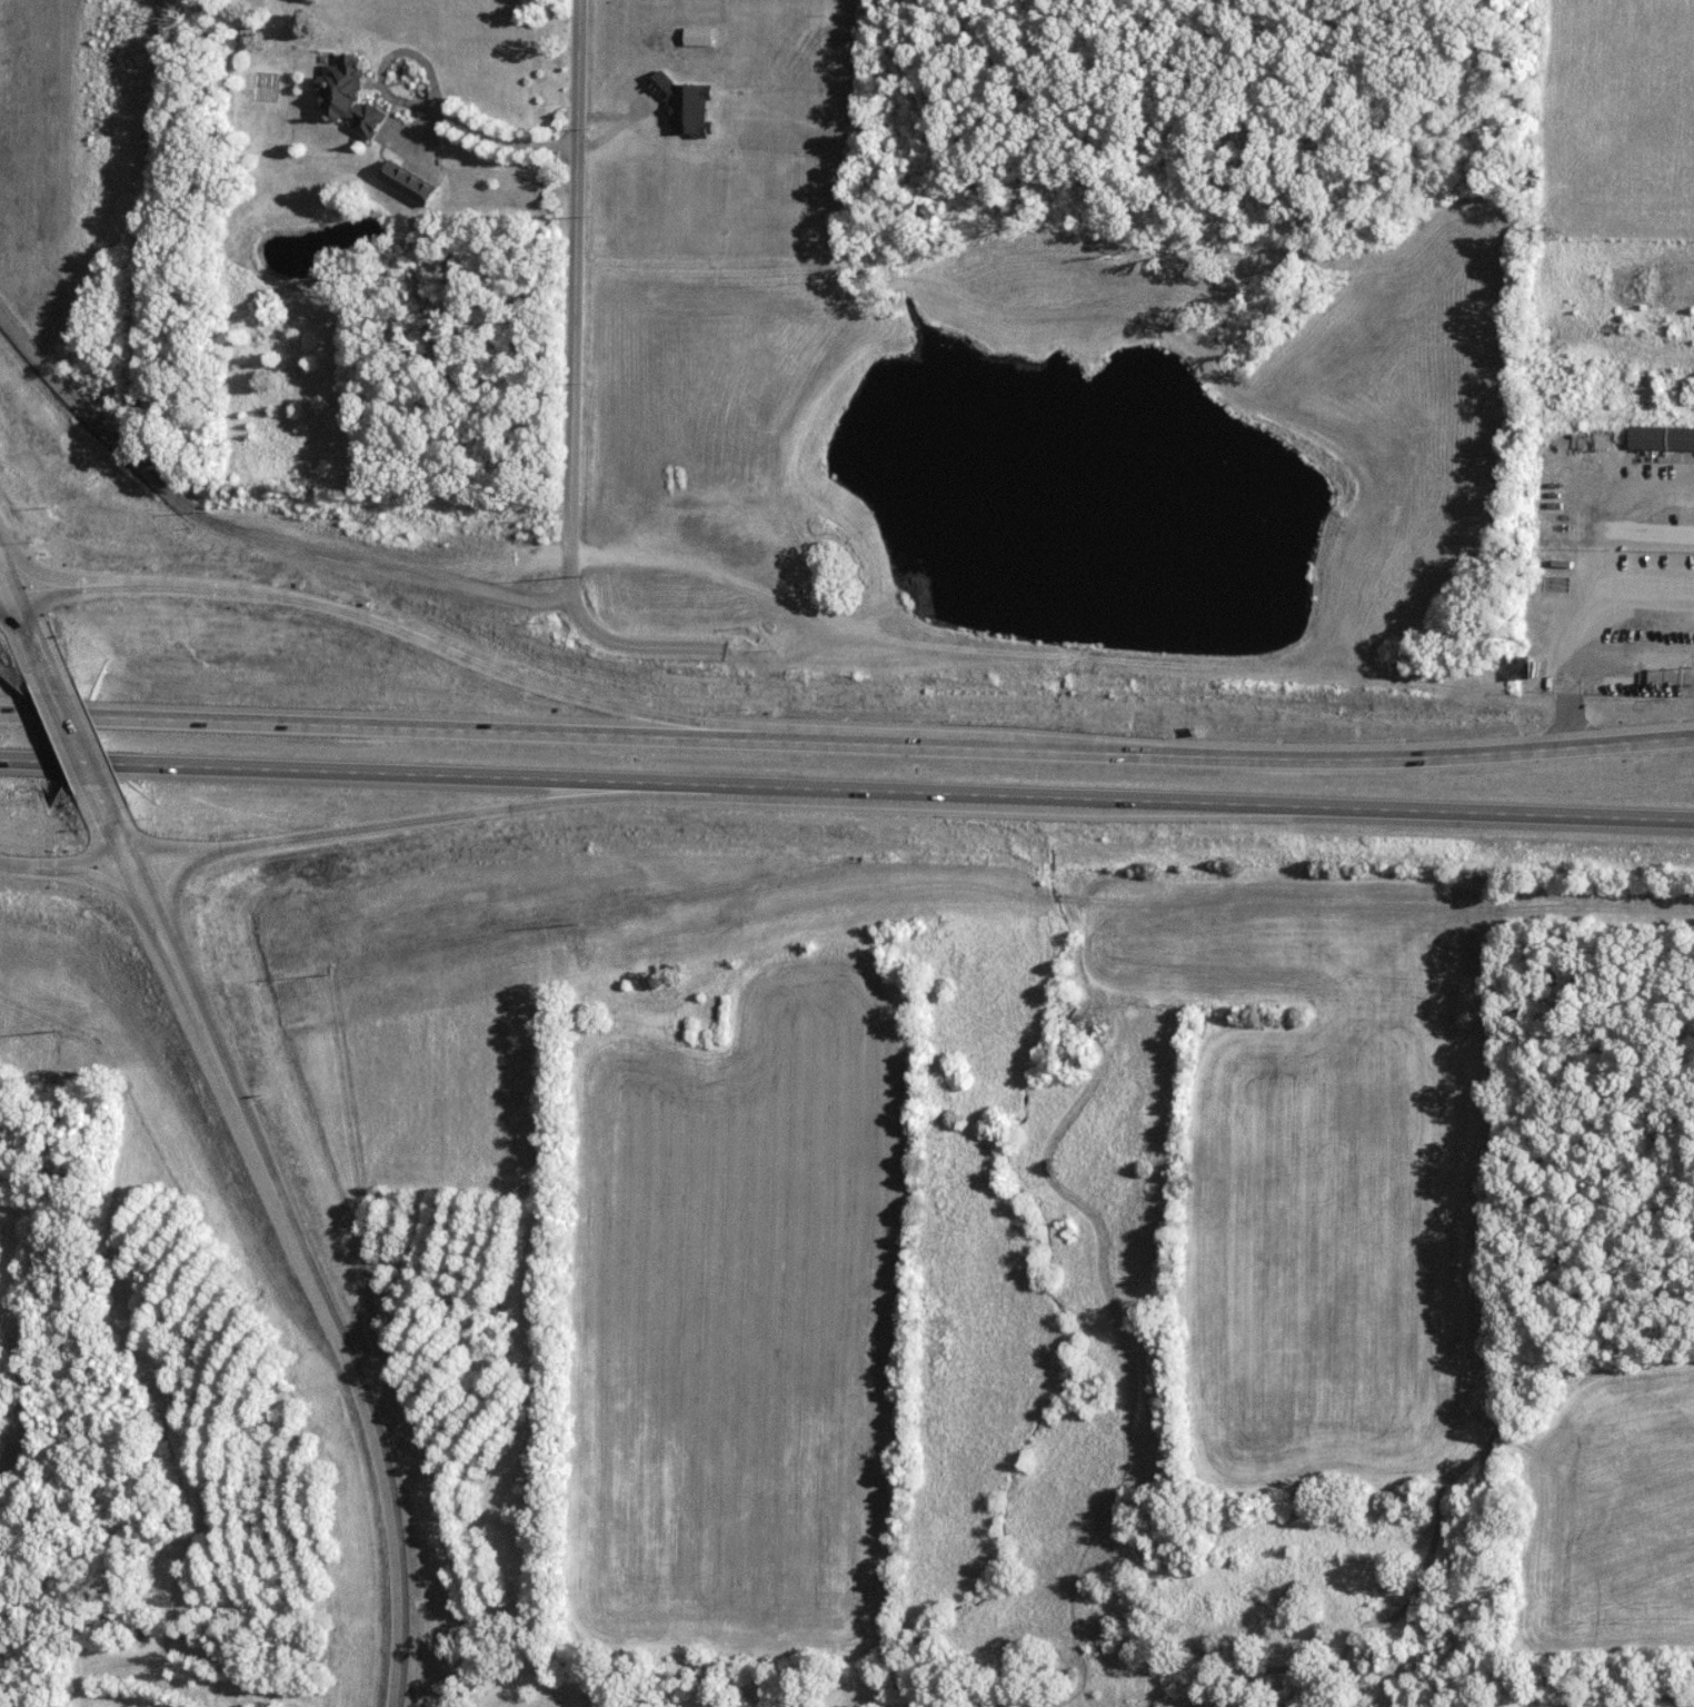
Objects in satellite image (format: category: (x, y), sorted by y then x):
road: (383, 60)
road: (502, 142)
road: (574, 387)
building: (1663, 438)
road: (246, 530)
road: (10, 577)
road: (389, 628)
road: (39, 643)
road: (1626, 656)
road: (1563, 713)
road: (79, 738)
road: (847, 743)
road: (847, 784)
road: (415, 818)
road: (120, 828)
road: (66, 870)
building: (632, 953)
road: (318, 1276)

